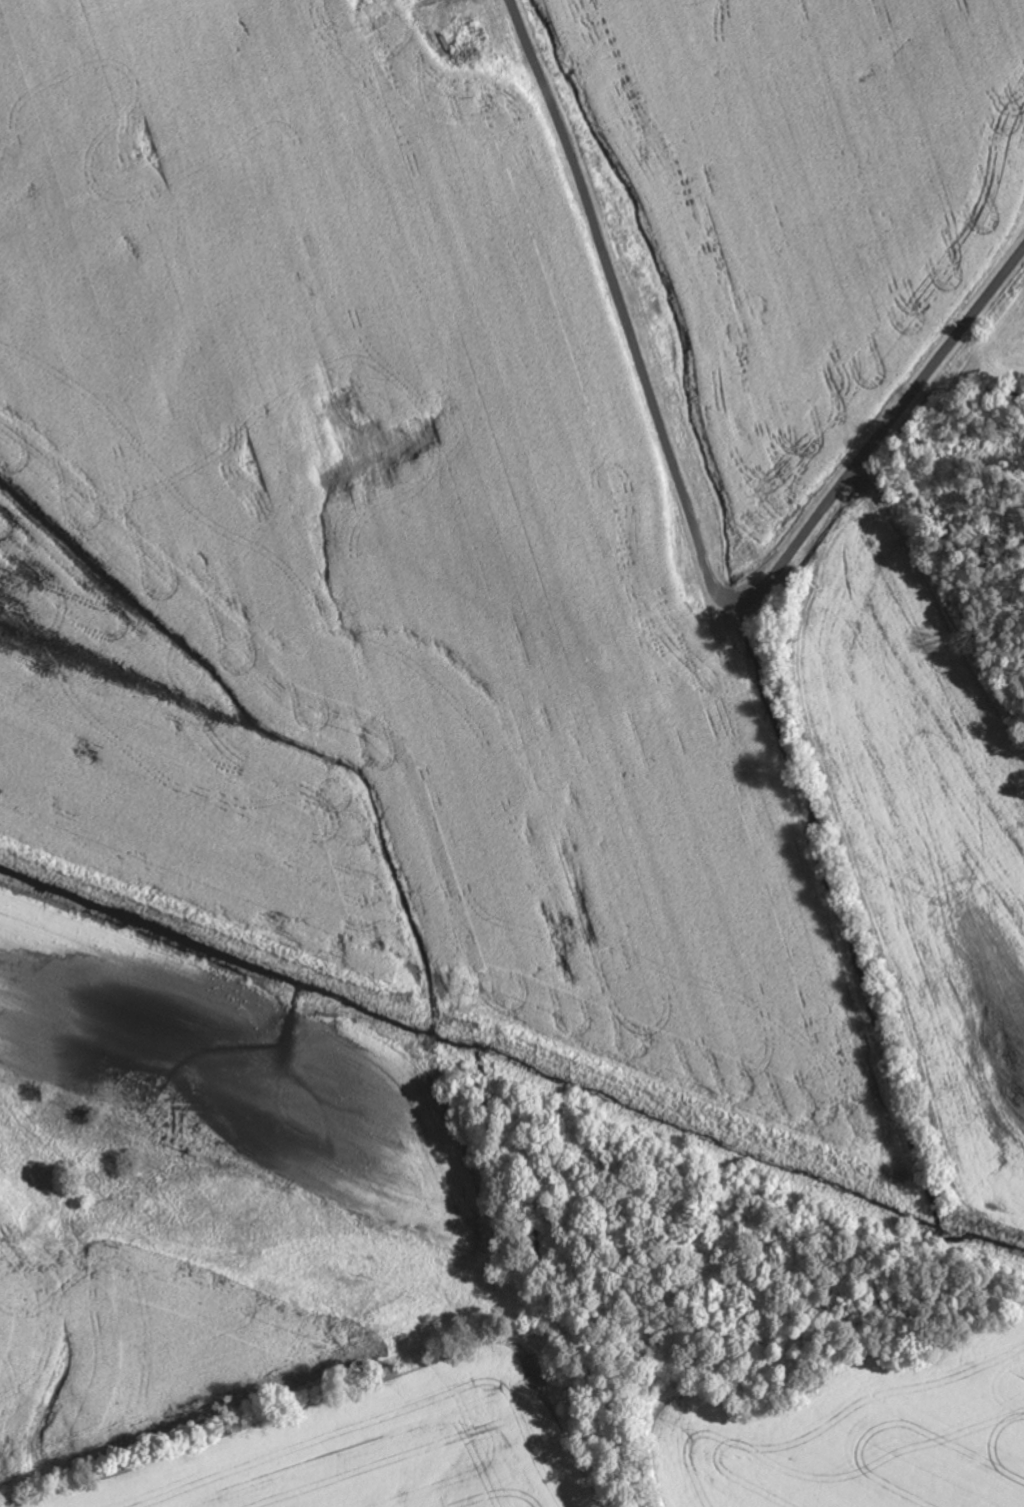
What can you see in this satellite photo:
road: (690, 526)

